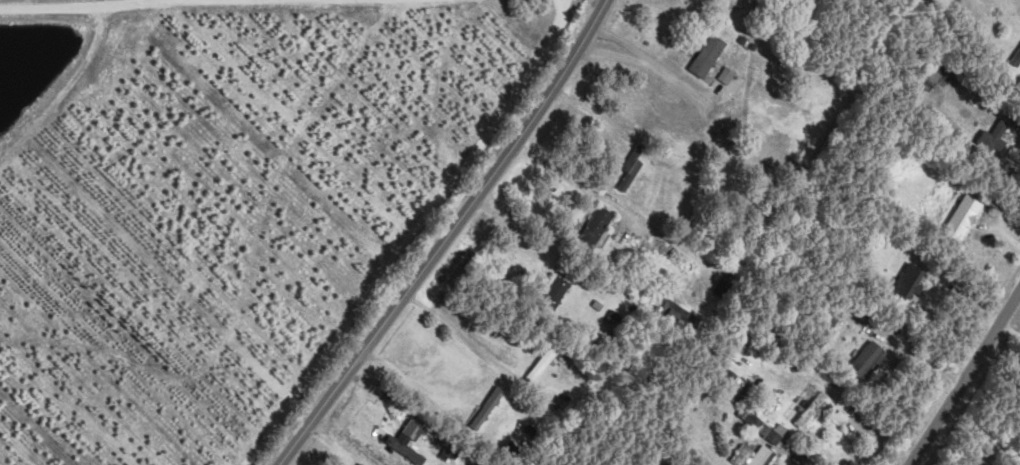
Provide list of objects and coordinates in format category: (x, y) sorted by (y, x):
building: (706, 55)
road: (641, 64)
building: (725, 74)
building: (992, 137)
road: (567, 175)
building: (961, 217)
building: (594, 227)
road: (444, 236)
building: (906, 283)
building: (554, 292)
road: (465, 336)
building: (867, 360)
building: (731, 375)
road: (962, 375)
road: (407, 380)
building: (486, 408)
building: (812, 408)
building: (412, 423)
building: (760, 426)
road: (980, 434)
building: (402, 446)
building: (752, 455)
road: (787, 459)

